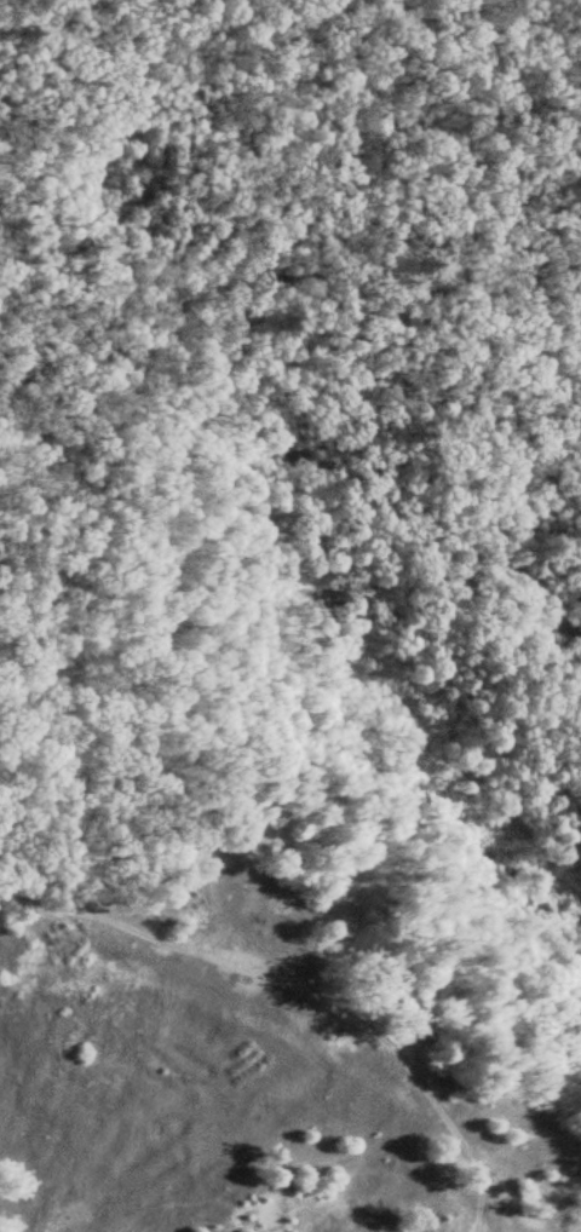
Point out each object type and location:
road: (282, 272)

